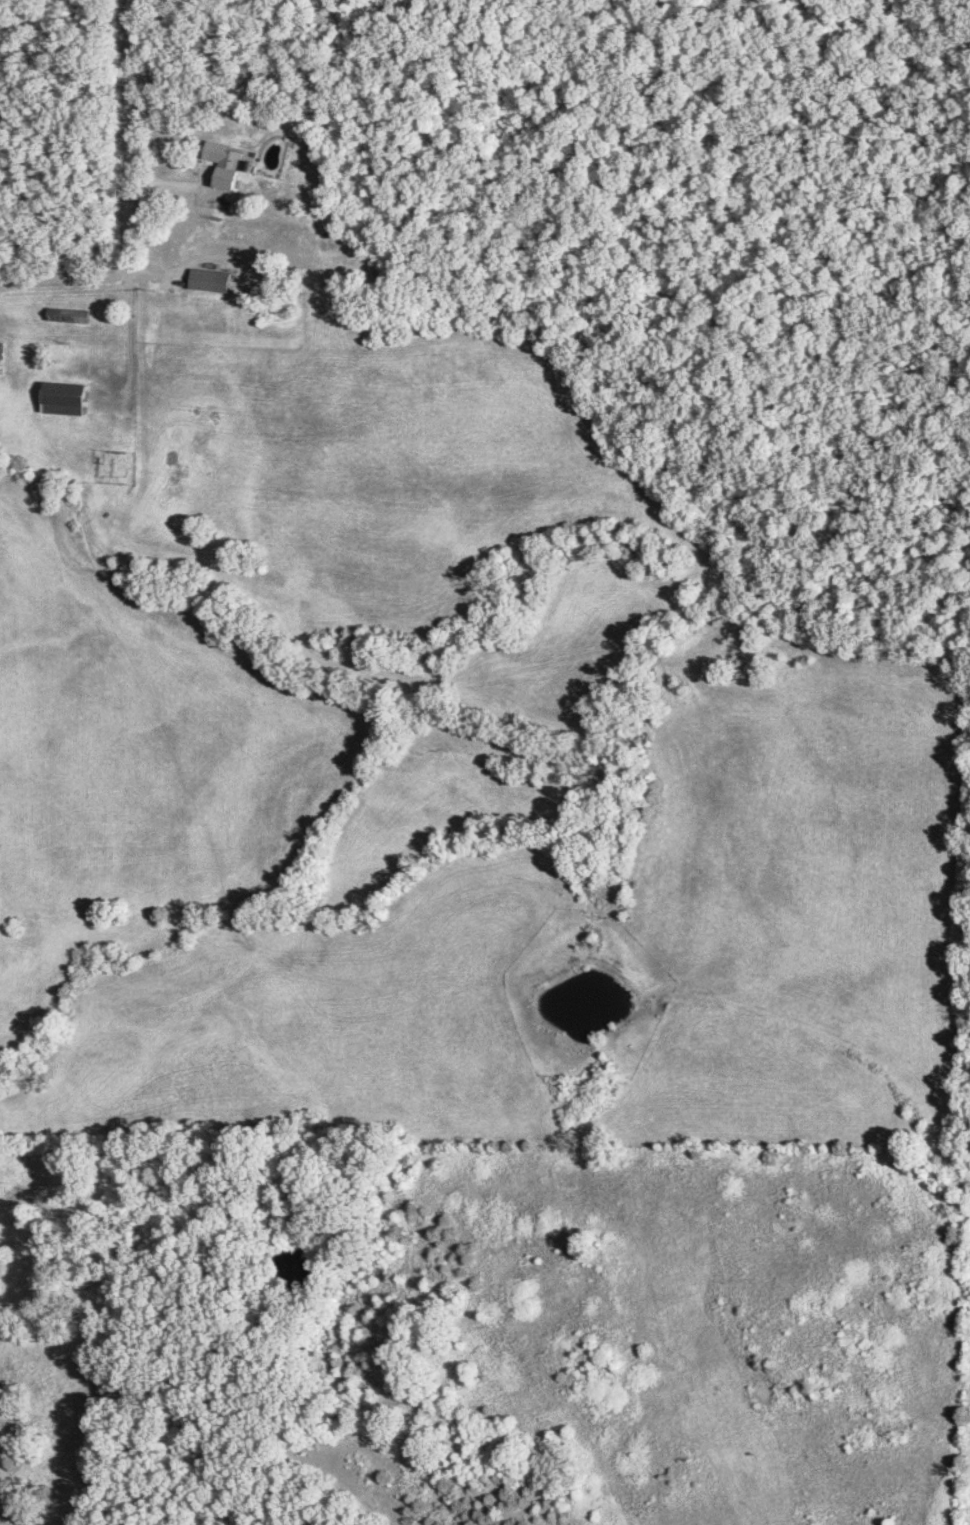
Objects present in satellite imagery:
building: (223, 165)
road: (132, 200)
building: (206, 281)

